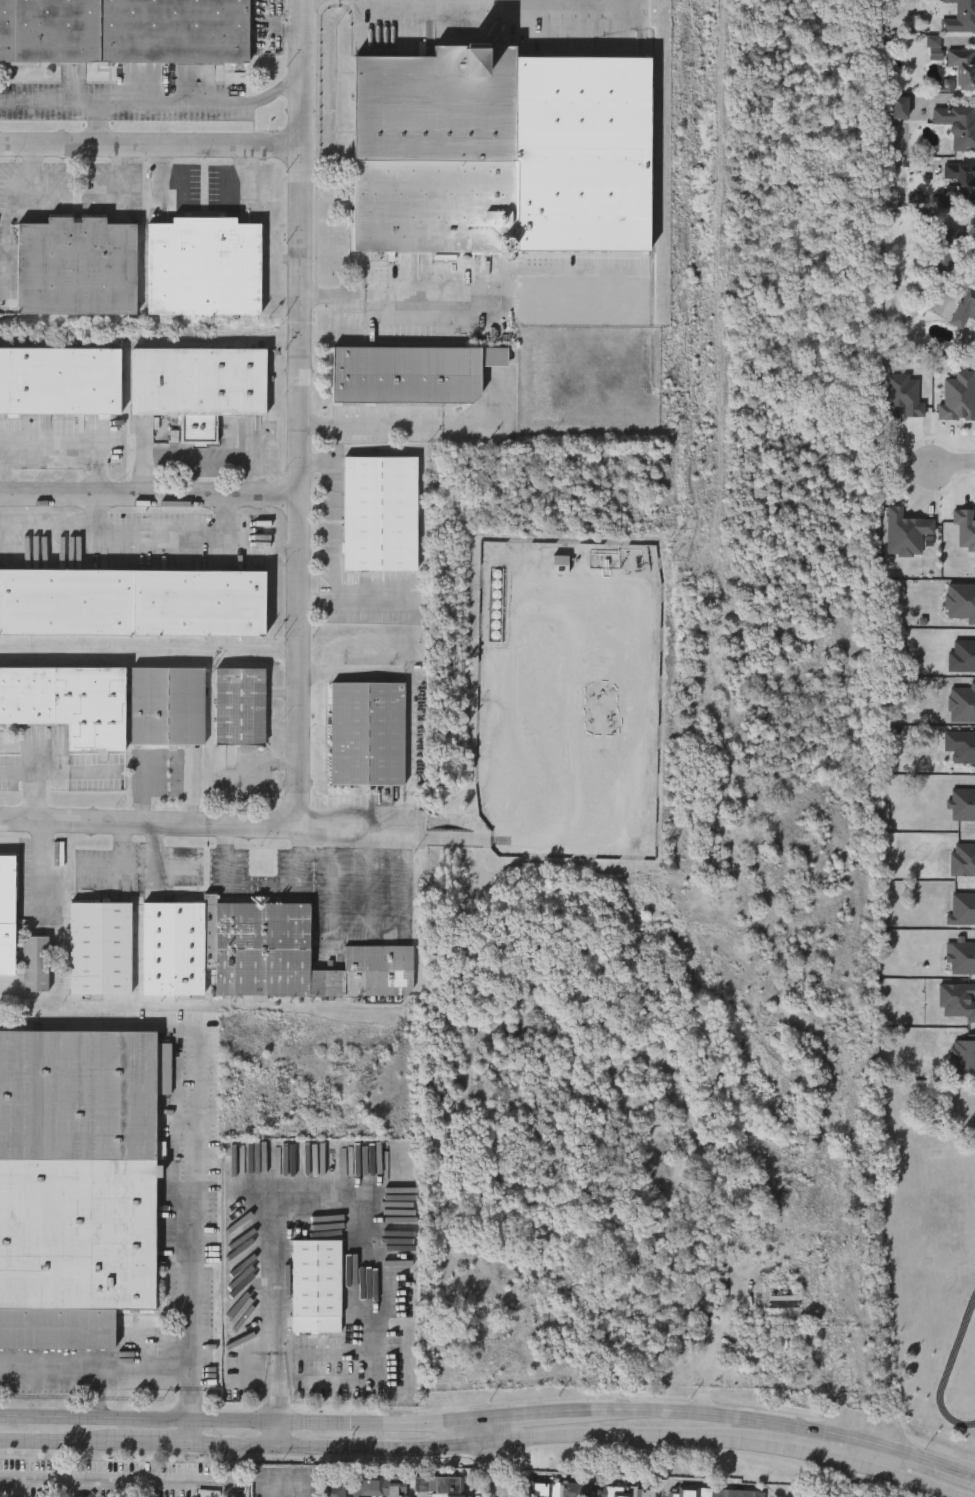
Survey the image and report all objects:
building: (960, 17)
building: (124, 31)
road: (268, 31)
building: (961, 70)
road: (152, 102)
building: (901, 108)
road: (99, 124)
building: (957, 125)
road: (150, 146)
building: (435, 151)
building: (958, 186)
building: (943, 254)
building: (76, 267)
building: (203, 267)
road: (476, 306)
building: (965, 308)
building: (411, 374)
building: (60, 382)
building: (199, 382)
road: (301, 416)
road: (396, 422)
road: (72, 445)
road: (203, 452)
road: (320, 464)
road: (953, 466)
road: (4, 471)
road: (150, 475)
road: (254, 476)
road: (150, 498)
building: (380, 514)
road: (96, 515)
road: (128, 533)
road: (337, 534)
road: (351, 597)
building: (132, 602)
building: (68, 703)
building: (168, 706)
building: (240, 706)
building: (973, 707)
building: (367, 734)
road: (169, 754)
road: (37, 776)
road: (146, 825)
road: (349, 826)
road: (227, 858)
road: (296, 858)
building: (7, 914)
building: (100, 949)
building: (173, 950)
building: (291, 955)
building: (36, 965)
building: (77, 1184)
building: (330, 1205)
road: (275, 1268)
building: (316, 1287)
building: (723, 1288)
road: (196, 1300)
road: (97, 1364)
road: (723, 1413)
road: (531, 1416)
road: (245, 1422)
road: (190, 1432)
road: (273, 1436)
road: (56, 1442)
road: (151, 1444)
road: (475, 1445)
road: (811, 1452)
road: (867, 1452)
road: (498, 1458)
road: (923, 1458)
road: (910, 1480)
road: (136, 1482)
building: (440, 1486)
road: (23, 1488)
building: (375, 1488)
building: (332, 1490)
building: (589, 1490)
building: (713, 1493)
building: (231, 1496)

